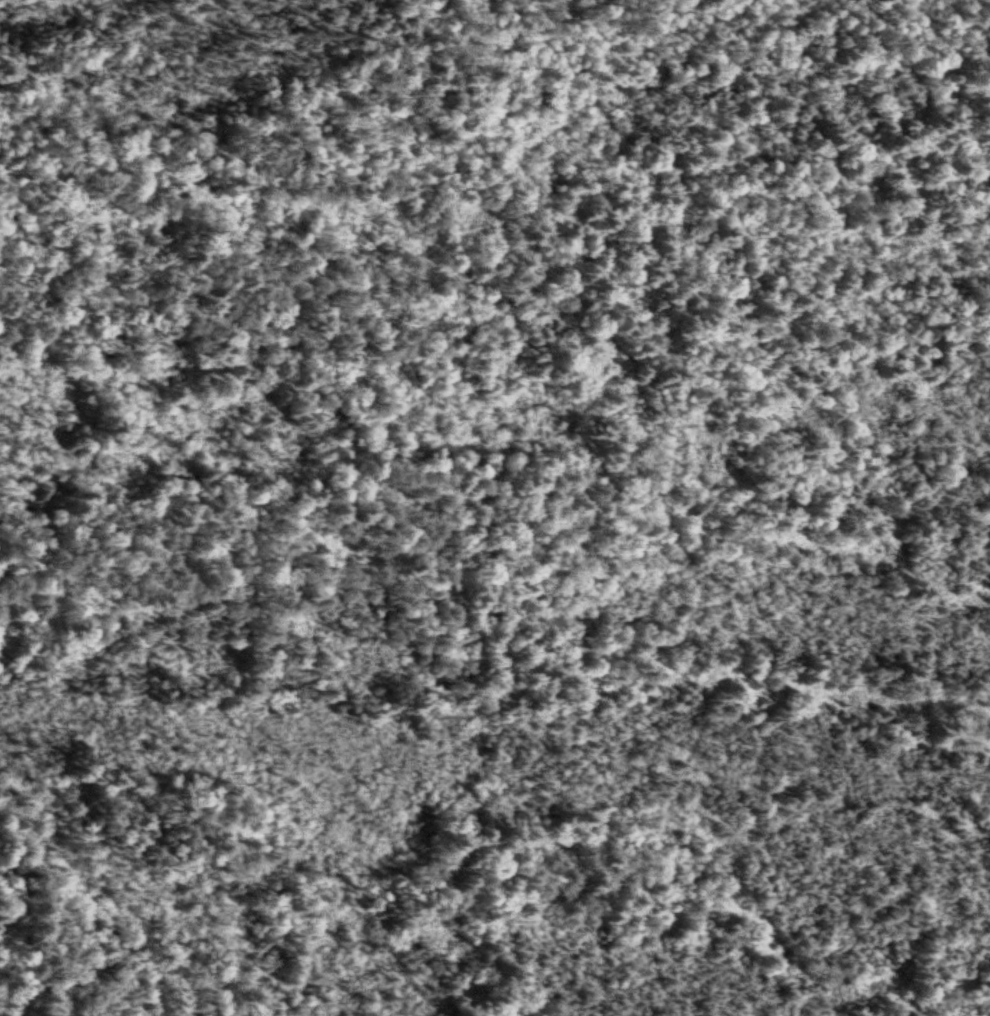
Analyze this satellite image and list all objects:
road: (547, 567)

